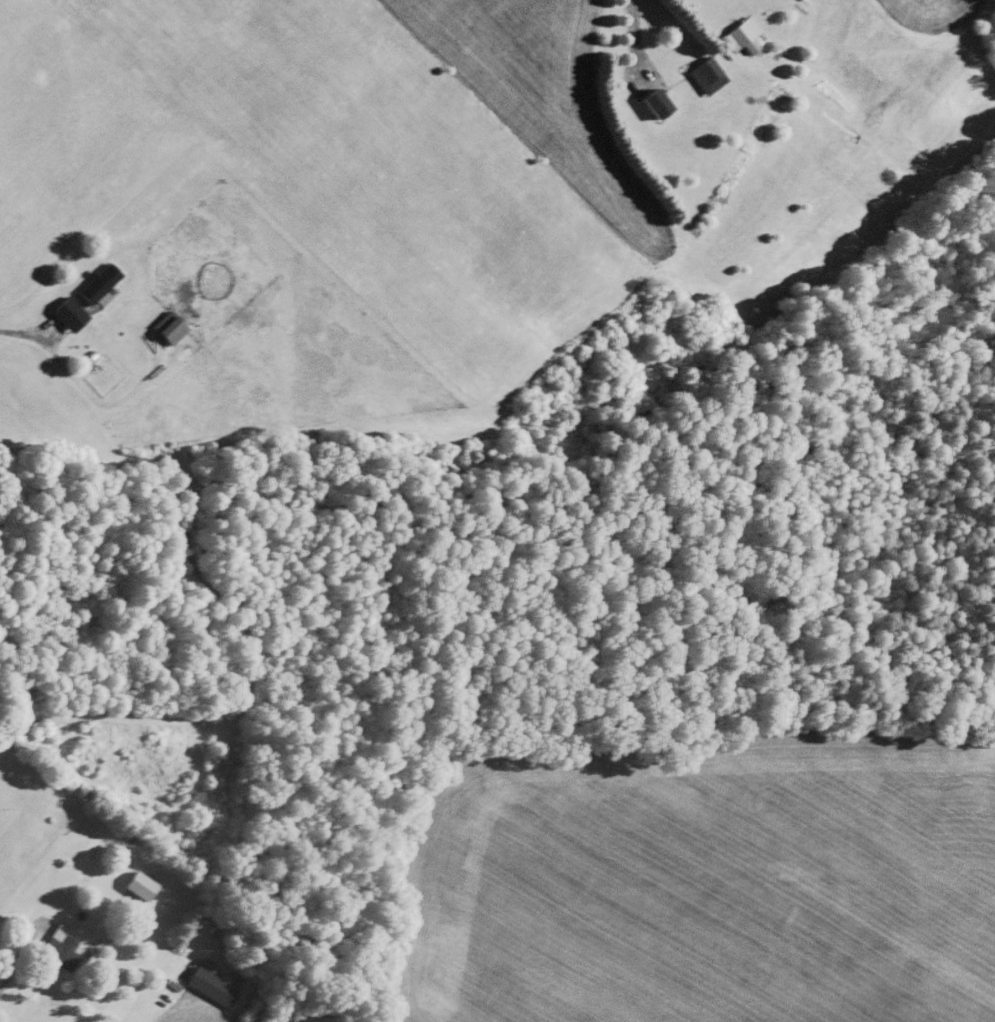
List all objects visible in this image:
building: (739, 33)
road: (632, 35)
building: (704, 74)
building: (655, 103)
building: (95, 282)
building: (65, 312)
building: (165, 327)
road: (19, 332)
building: (134, 885)
building: (58, 948)
road: (13, 960)
building: (208, 984)
road: (170, 1017)

